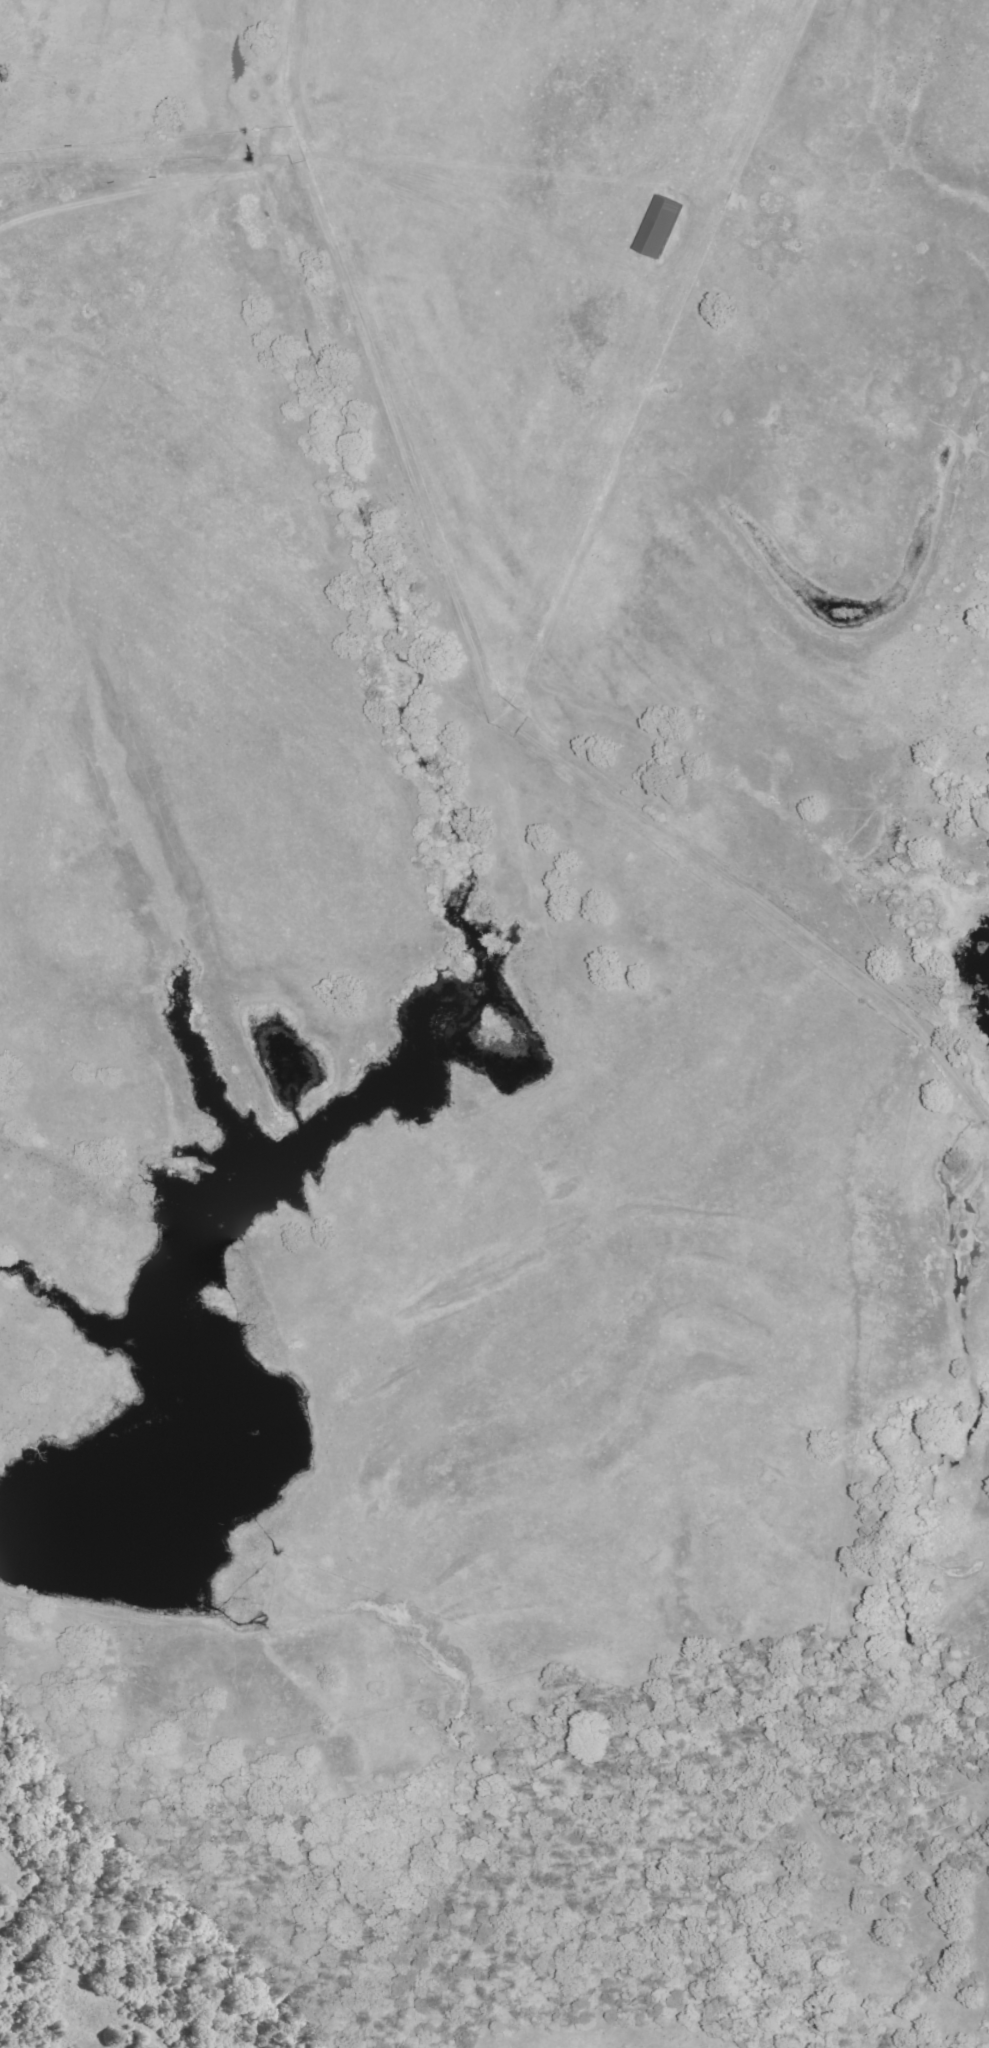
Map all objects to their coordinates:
building: (662, 227)

